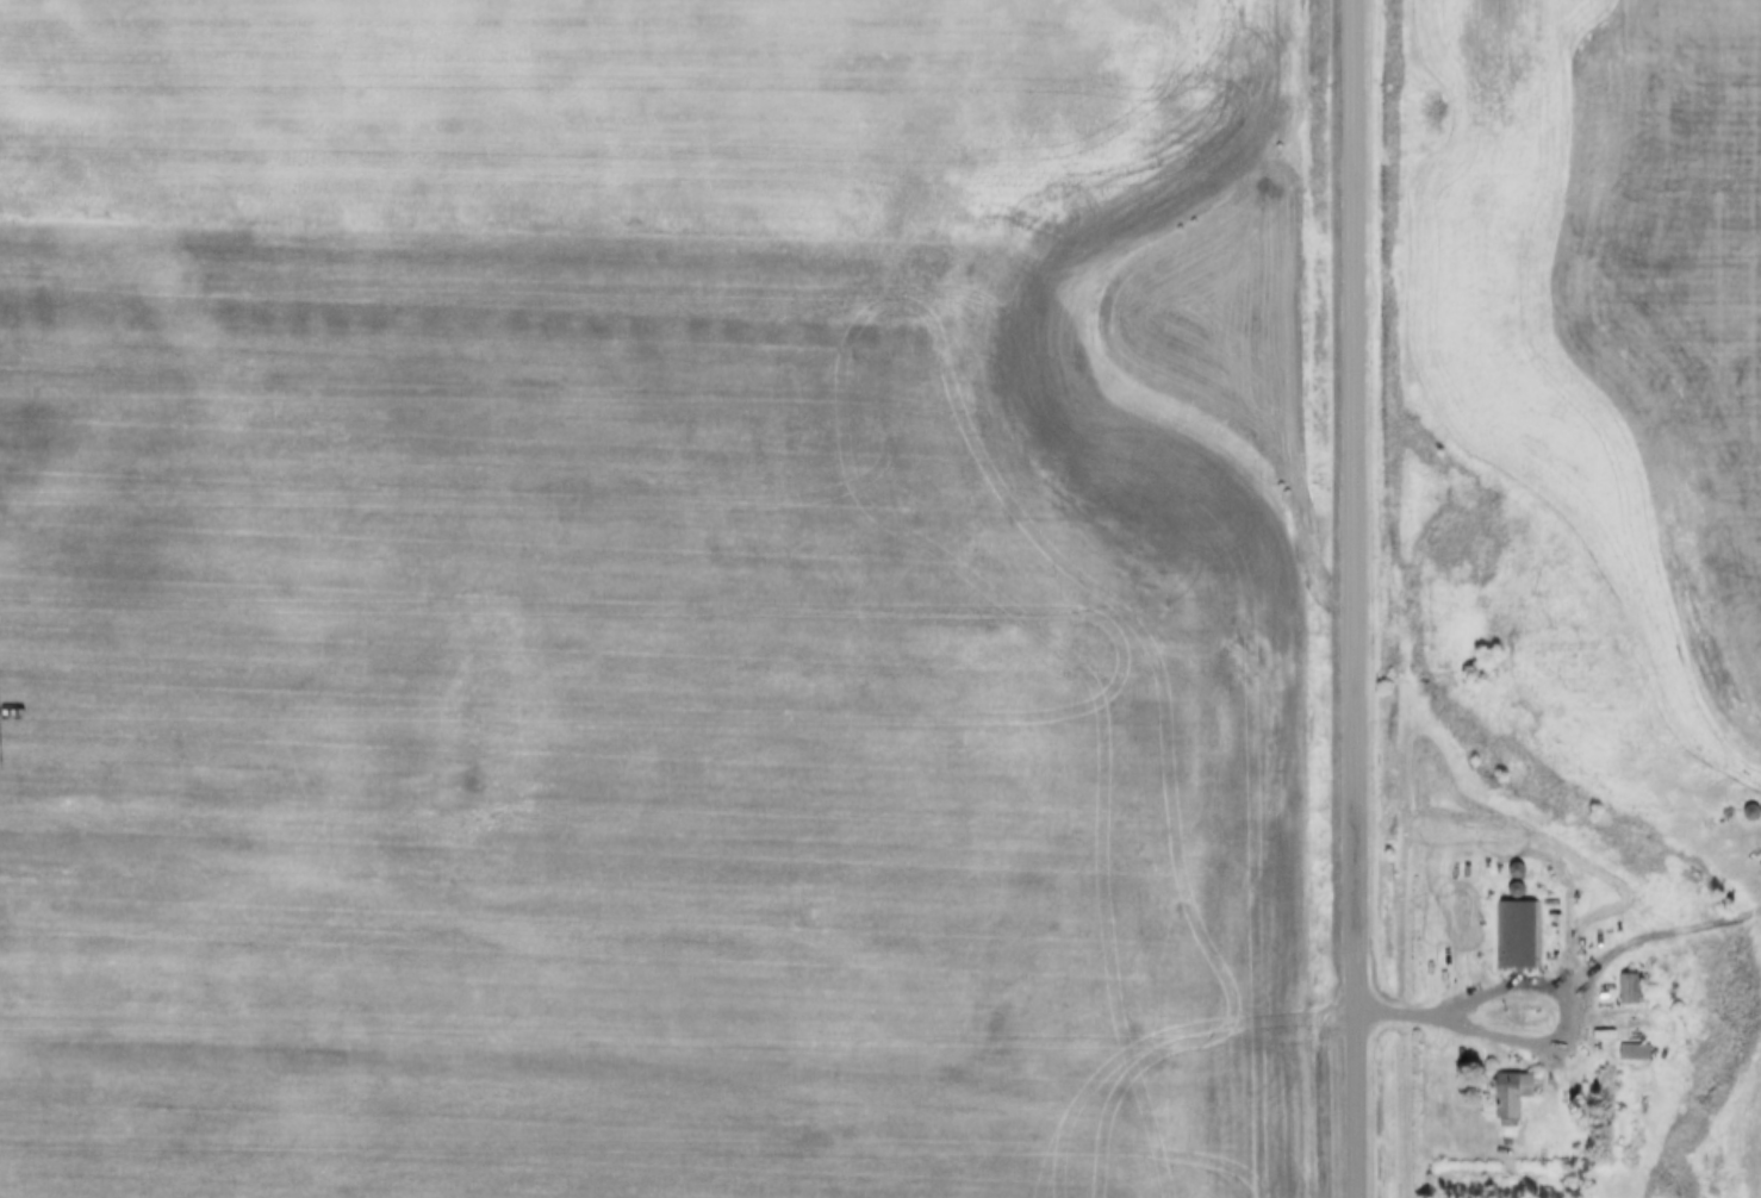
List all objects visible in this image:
road: (1355, 599)
building: (1754, 816)
road: (1660, 935)
building: (1518, 937)
road: (1567, 988)
building: (1630, 992)
building: (1636, 1054)
building: (1514, 1097)

